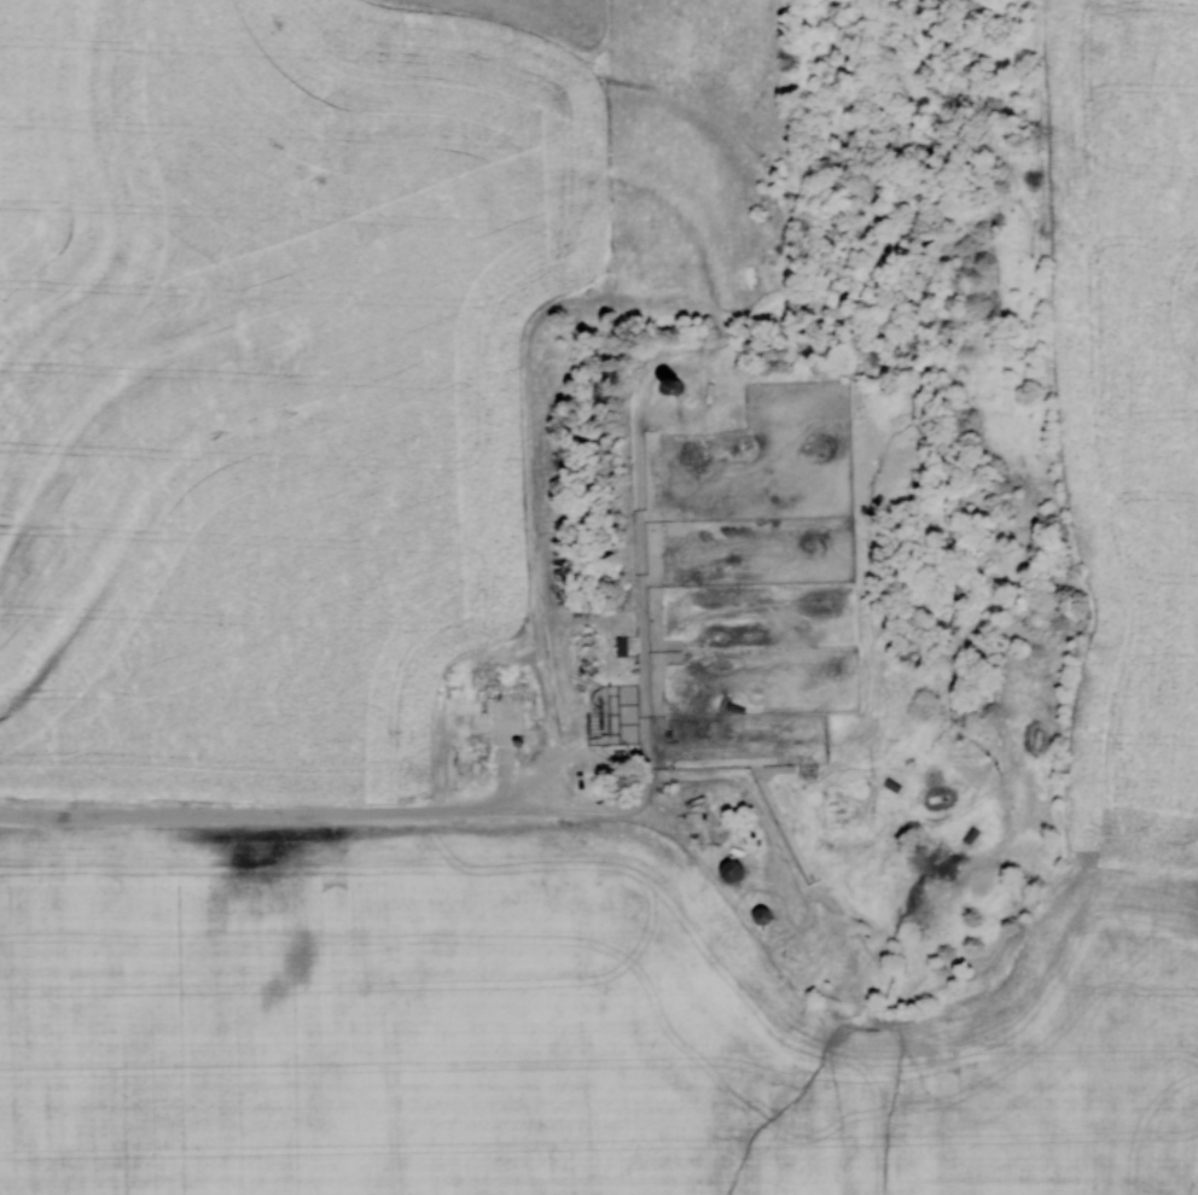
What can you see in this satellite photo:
road: (289, 811)
building: (737, 872)
building: (764, 917)

